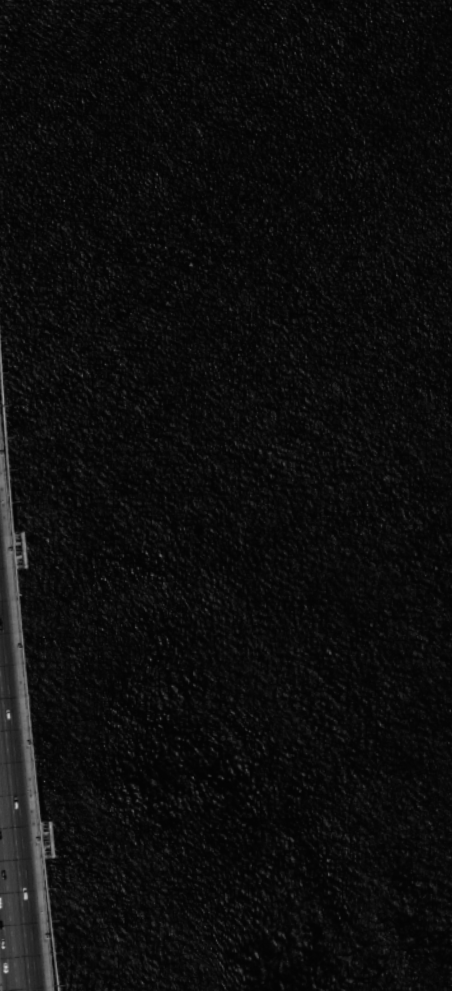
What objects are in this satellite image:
road: (2, 967)

